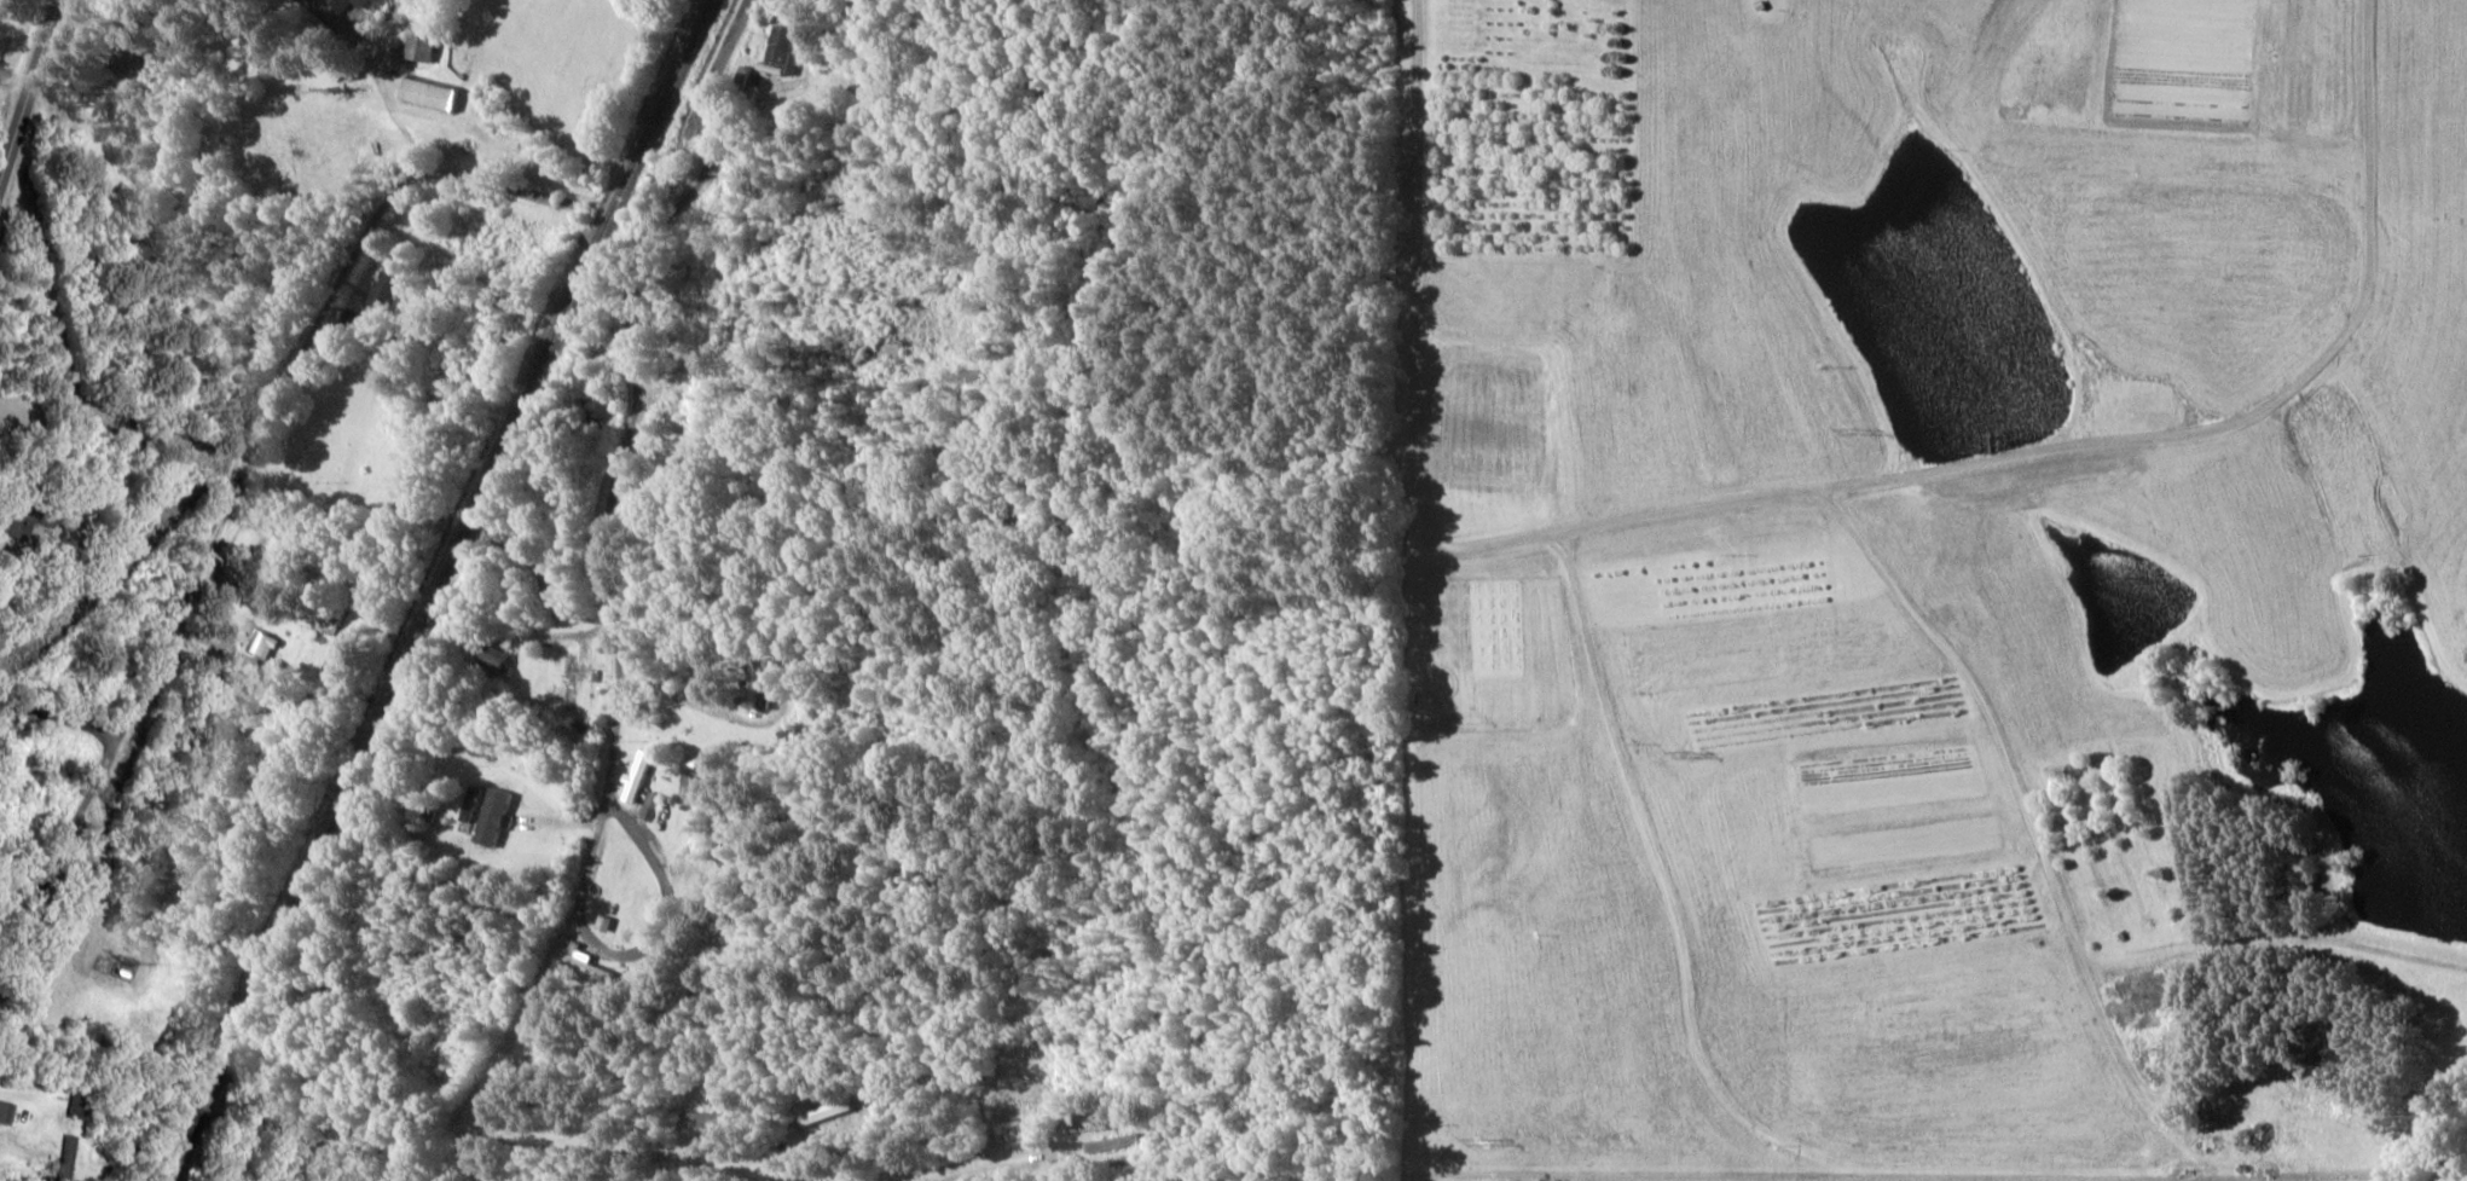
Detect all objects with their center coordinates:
building: (344, 4)
building: (418, 45)
building: (781, 52)
building: (126, 56)
road: (30, 92)
building: (428, 93)
road: (694, 111)
road: (1411, 267)
building: (382, 289)
road: (635, 353)
building: (602, 410)
road: (2108, 463)
road: (242, 482)
railway: (435, 590)
building: (494, 656)
building: (569, 681)
building: (764, 683)
road: (50, 725)
building: (636, 776)
building: (469, 803)
building: (649, 806)
building: (493, 816)
building: (602, 924)
building: (585, 963)
building: (4, 1113)
building: (62, 1158)

